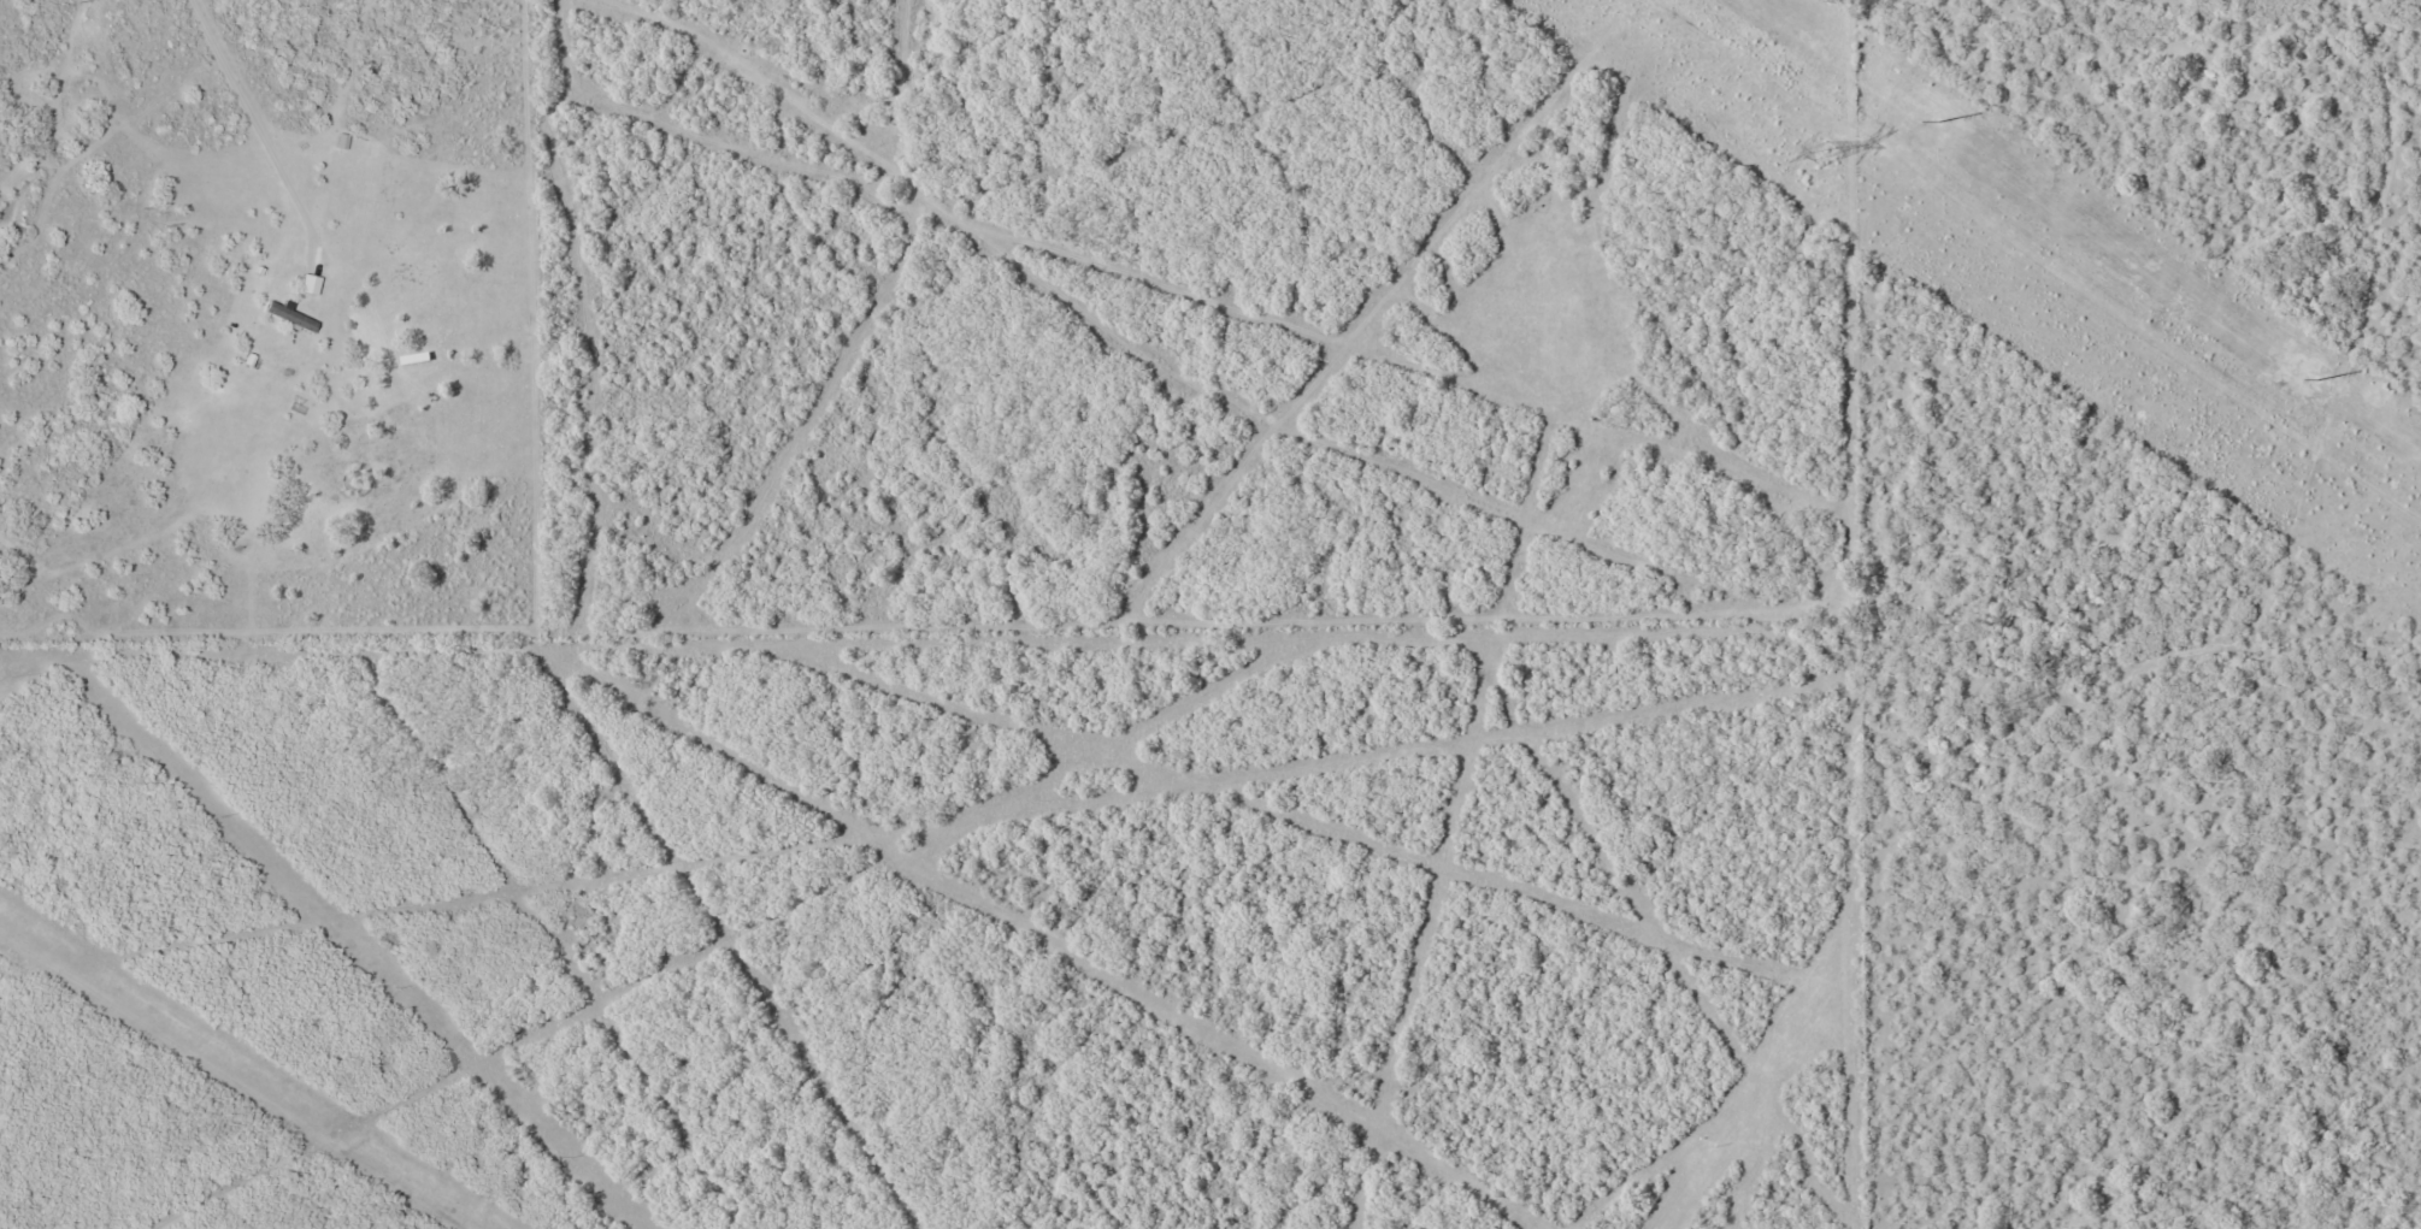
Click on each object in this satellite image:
power tower: (1826, 154)

